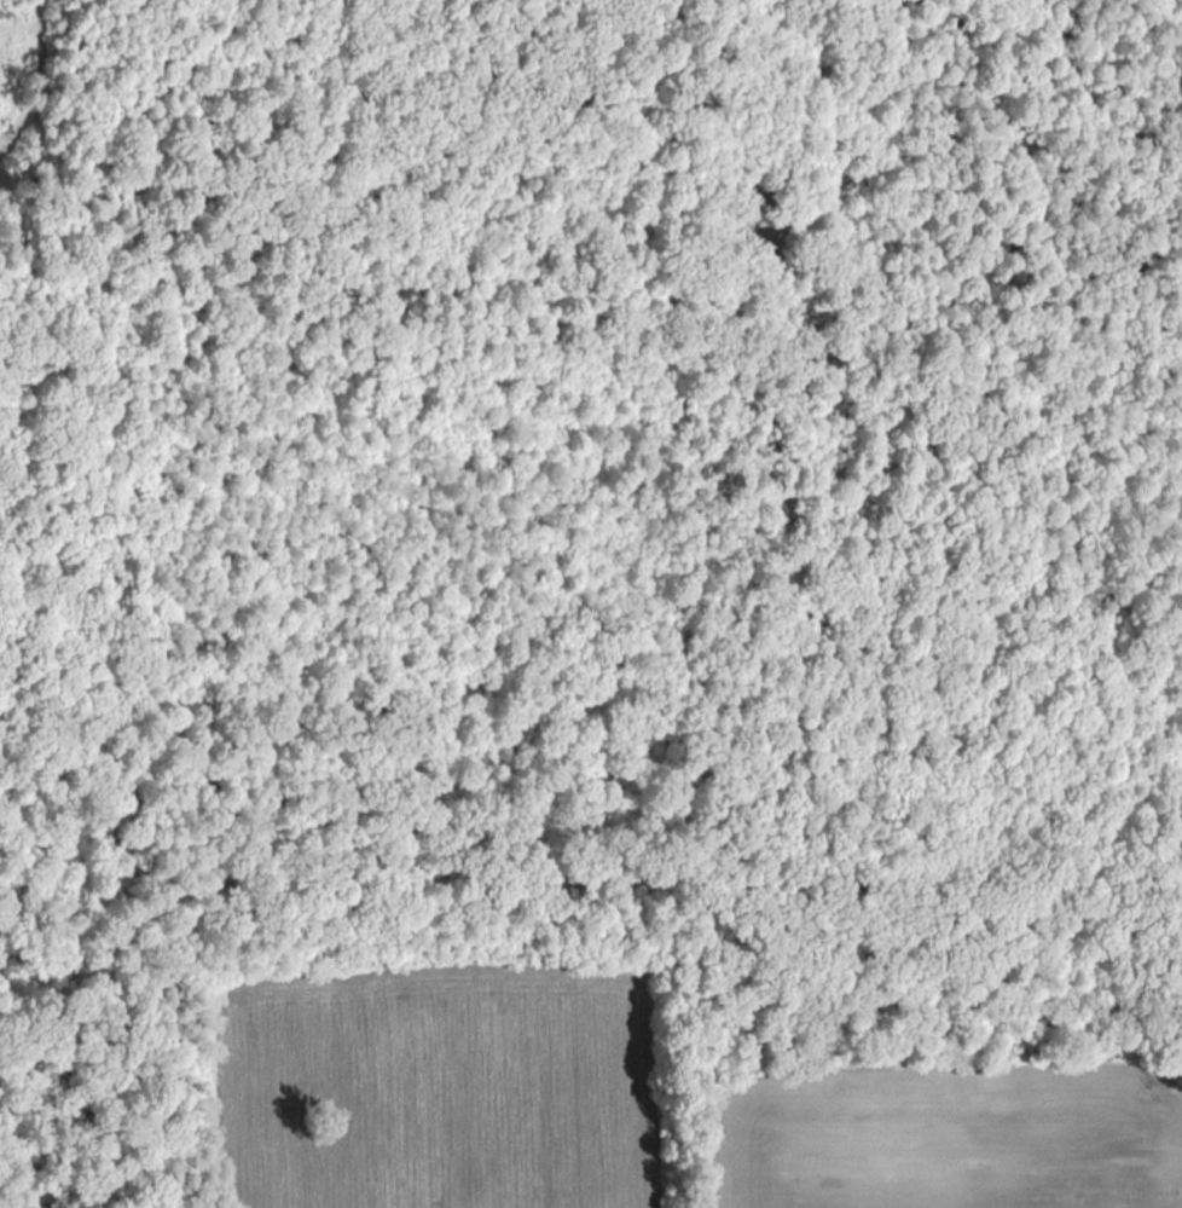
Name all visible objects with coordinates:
crop: (433, 1089)
crop: (950, 1134)

